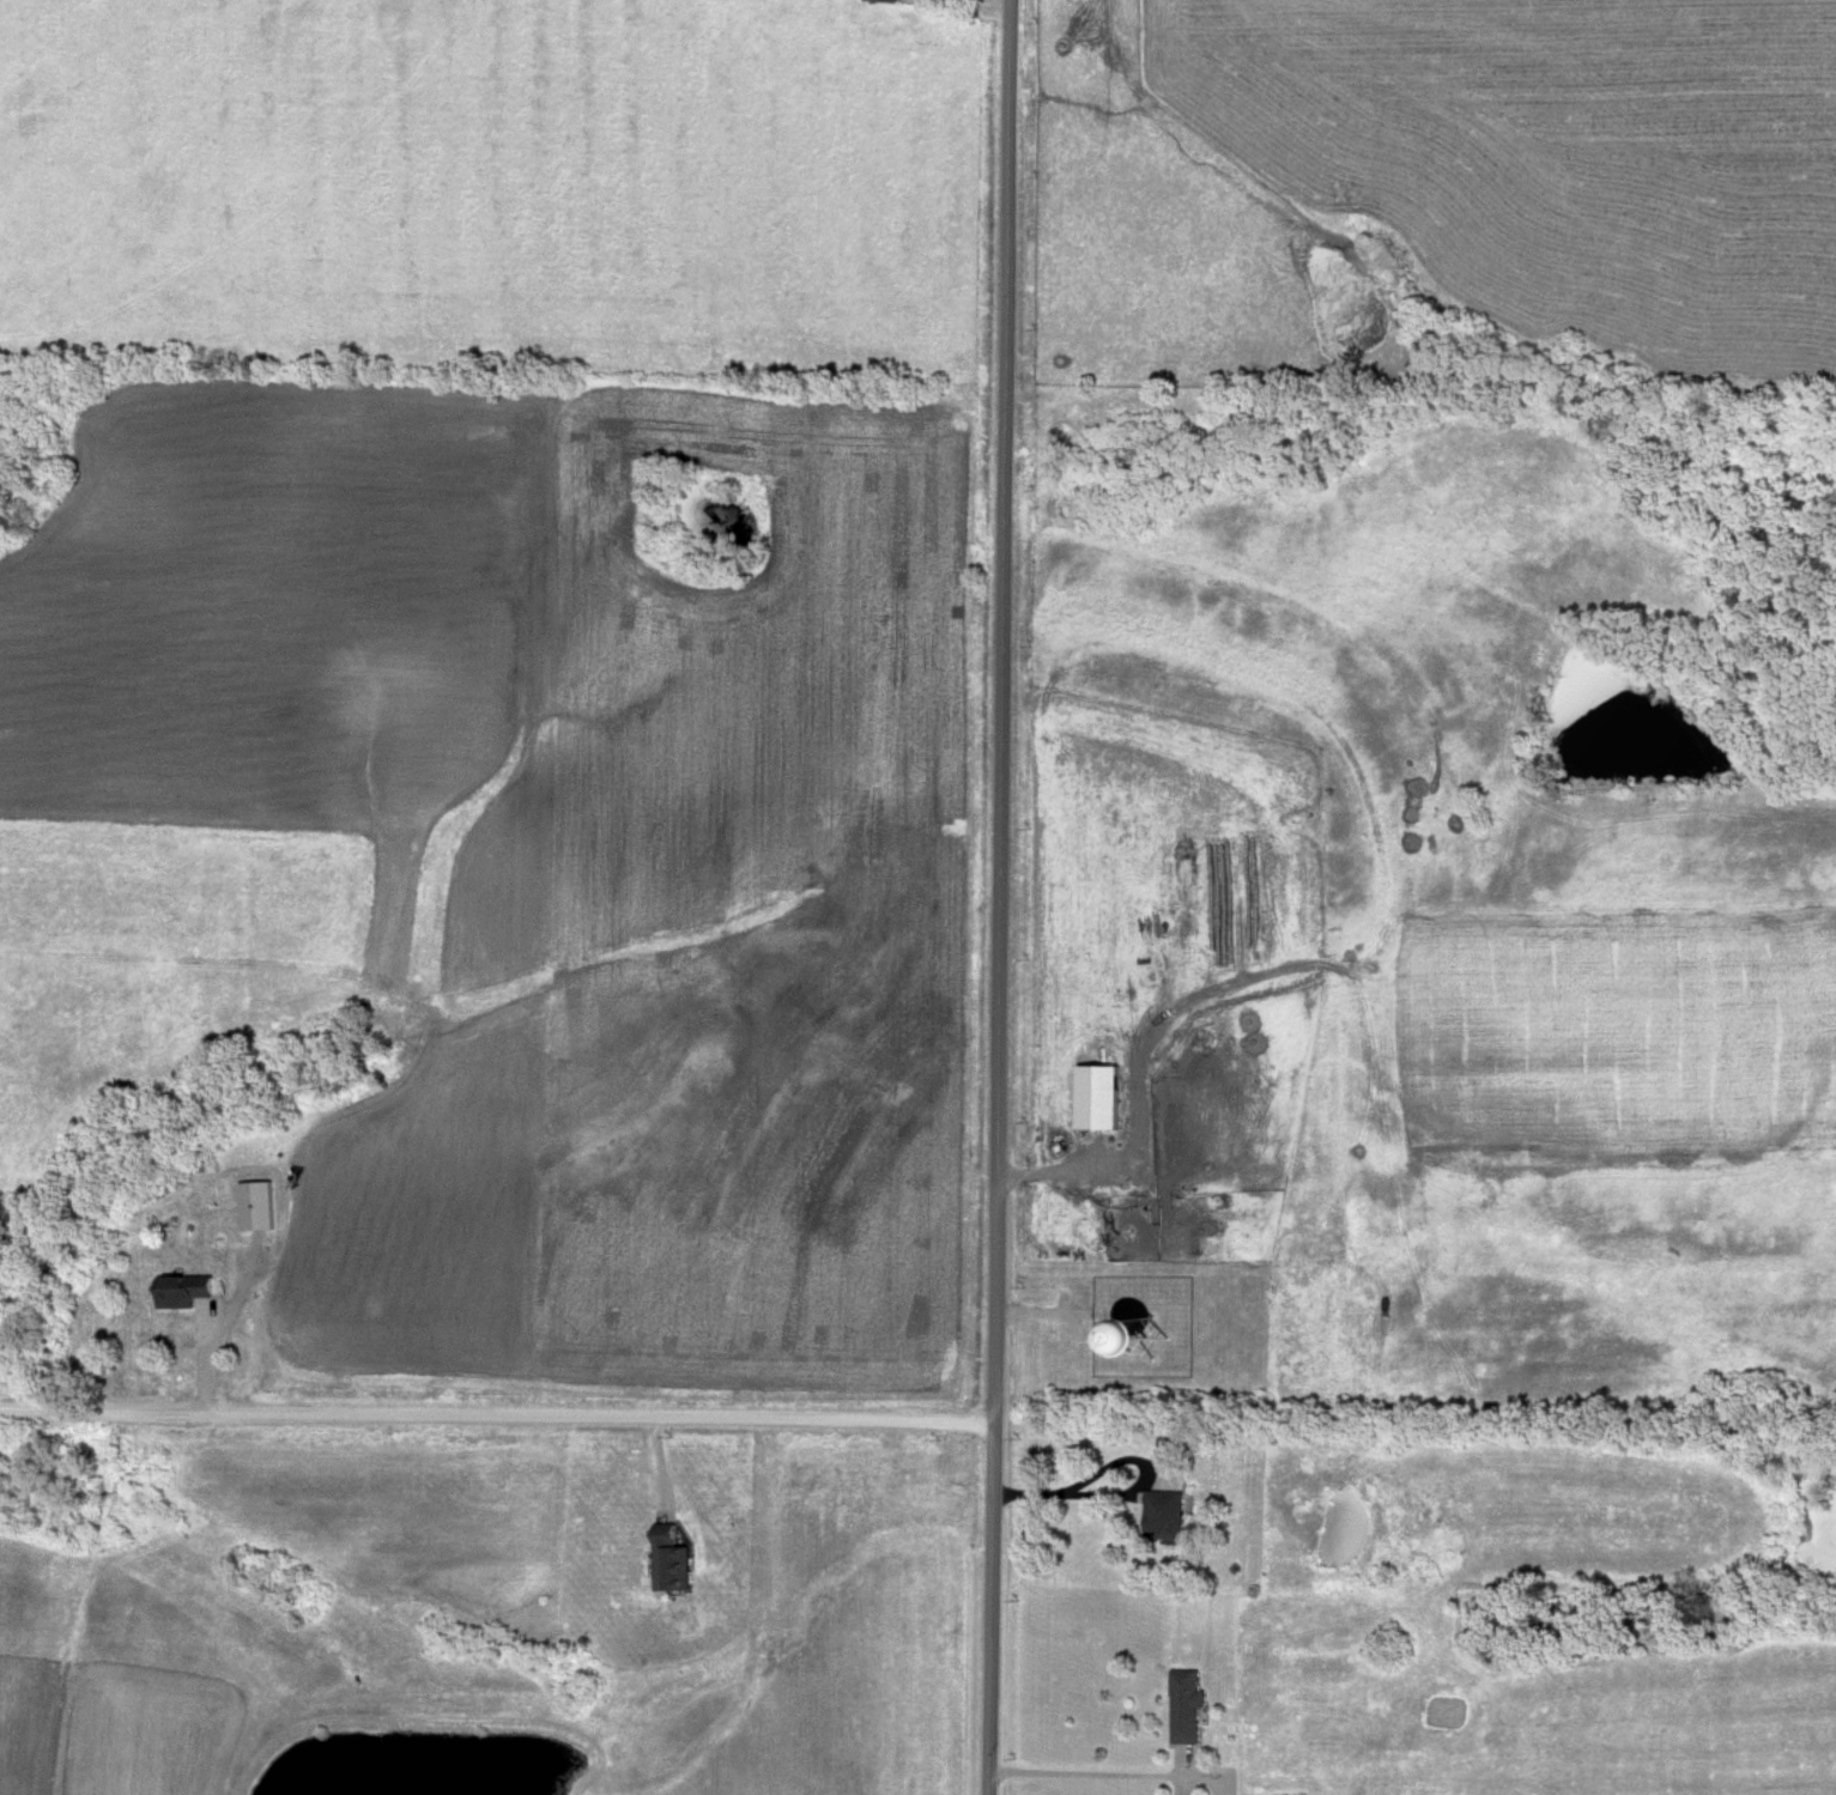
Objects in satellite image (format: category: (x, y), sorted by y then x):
building: (880, 1)
road: (1001, 897)
building: (255, 1207)
building: (181, 1292)
road: (498, 1423)
building: (1169, 1449)
building: (1163, 1516)
building: (668, 1561)
building: (1186, 1708)
road: (1092, 1772)

